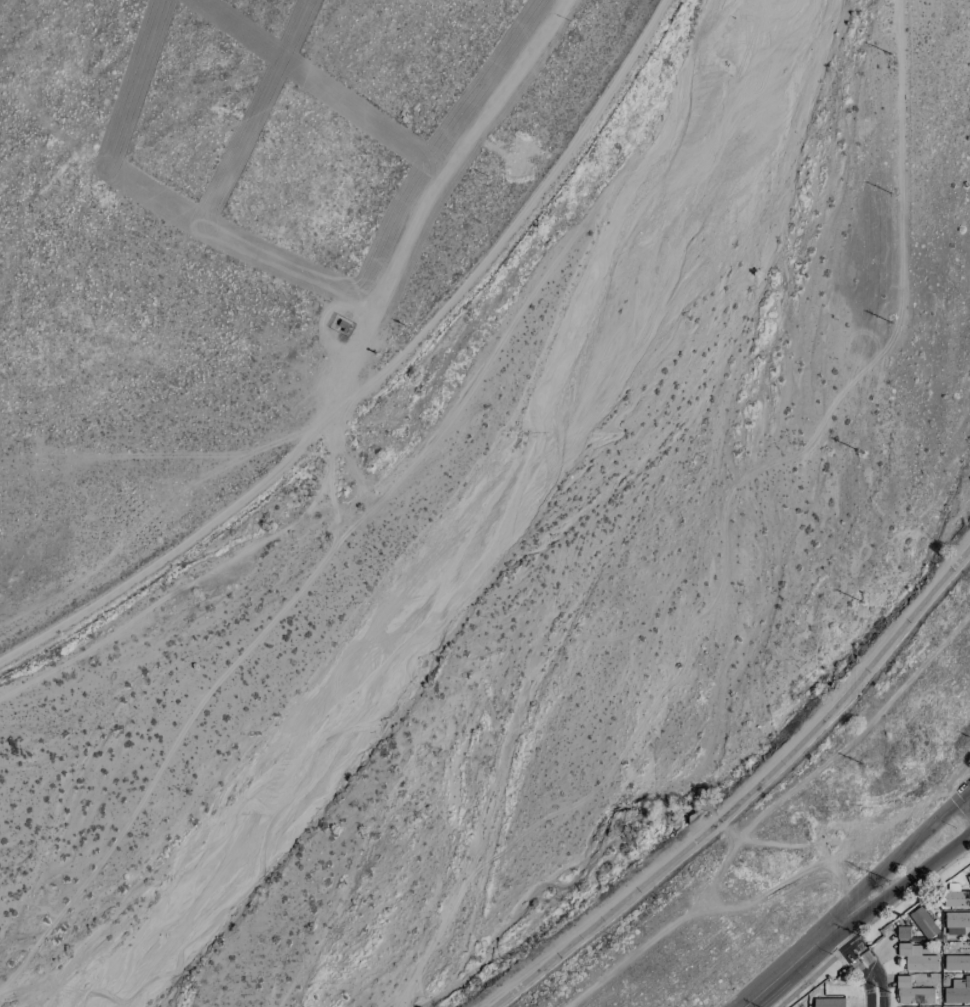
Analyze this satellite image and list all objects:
river: (588, 591)
road: (746, 793)
road: (899, 854)
building: (968, 878)
road: (905, 884)
building: (955, 895)
building: (957, 918)
building: (922, 922)
building: (903, 932)
road: (851, 934)
road: (840, 946)
building: (917, 959)
building: (957, 962)
road: (869, 963)
road: (788, 966)
road: (862, 972)
road: (875, 991)
building: (912, 991)
building: (958, 992)
building: (828, 1002)

